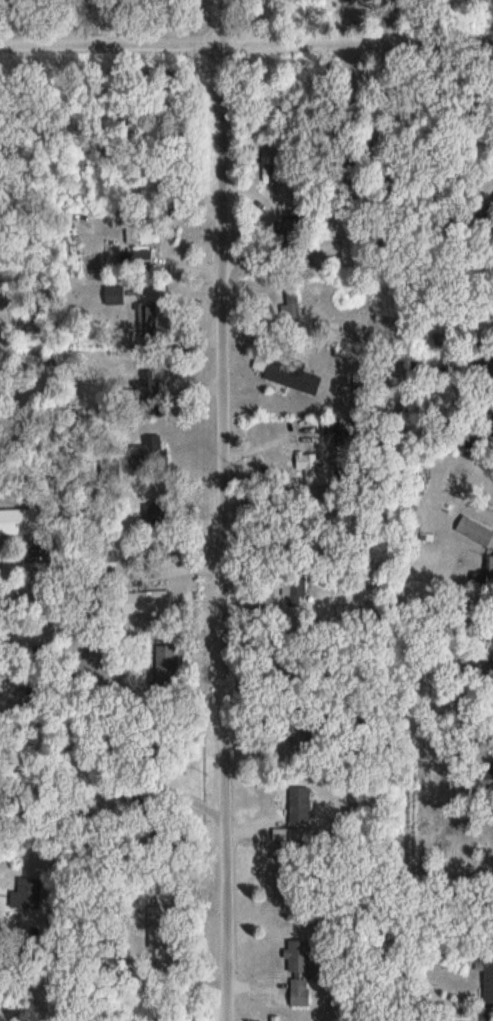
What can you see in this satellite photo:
building: (482, 1)
road: (246, 43)
building: (141, 230)
building: (134, 257)
building: (294, 306)
building: (288, 374)
building: (153, 452)
road: (230, 510)
building: (476, 531)
building: (486, 573)
building: (295, 597)
building: (155, 600)
building: (168, 665)
building: (303, 806)
building: (303, 972)
building: (489, 982)

